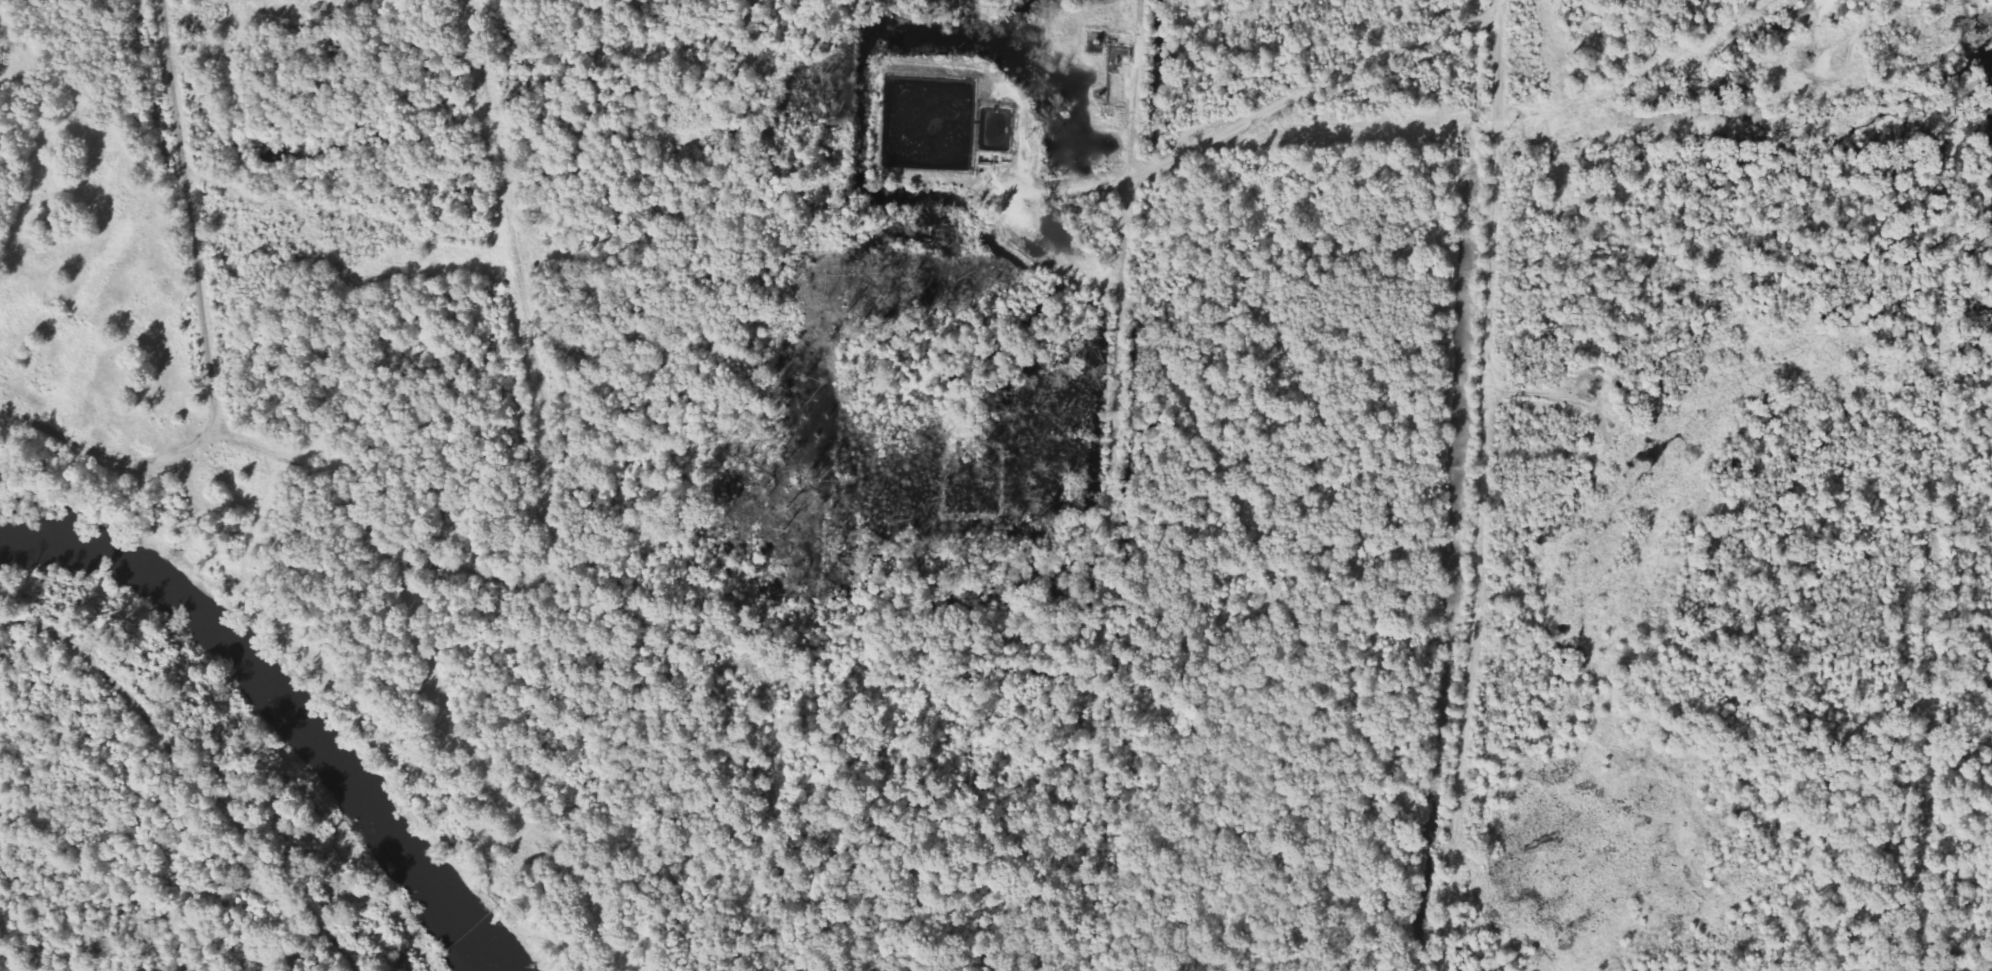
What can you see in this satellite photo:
road: (103, 455)
river: (277, 710)

